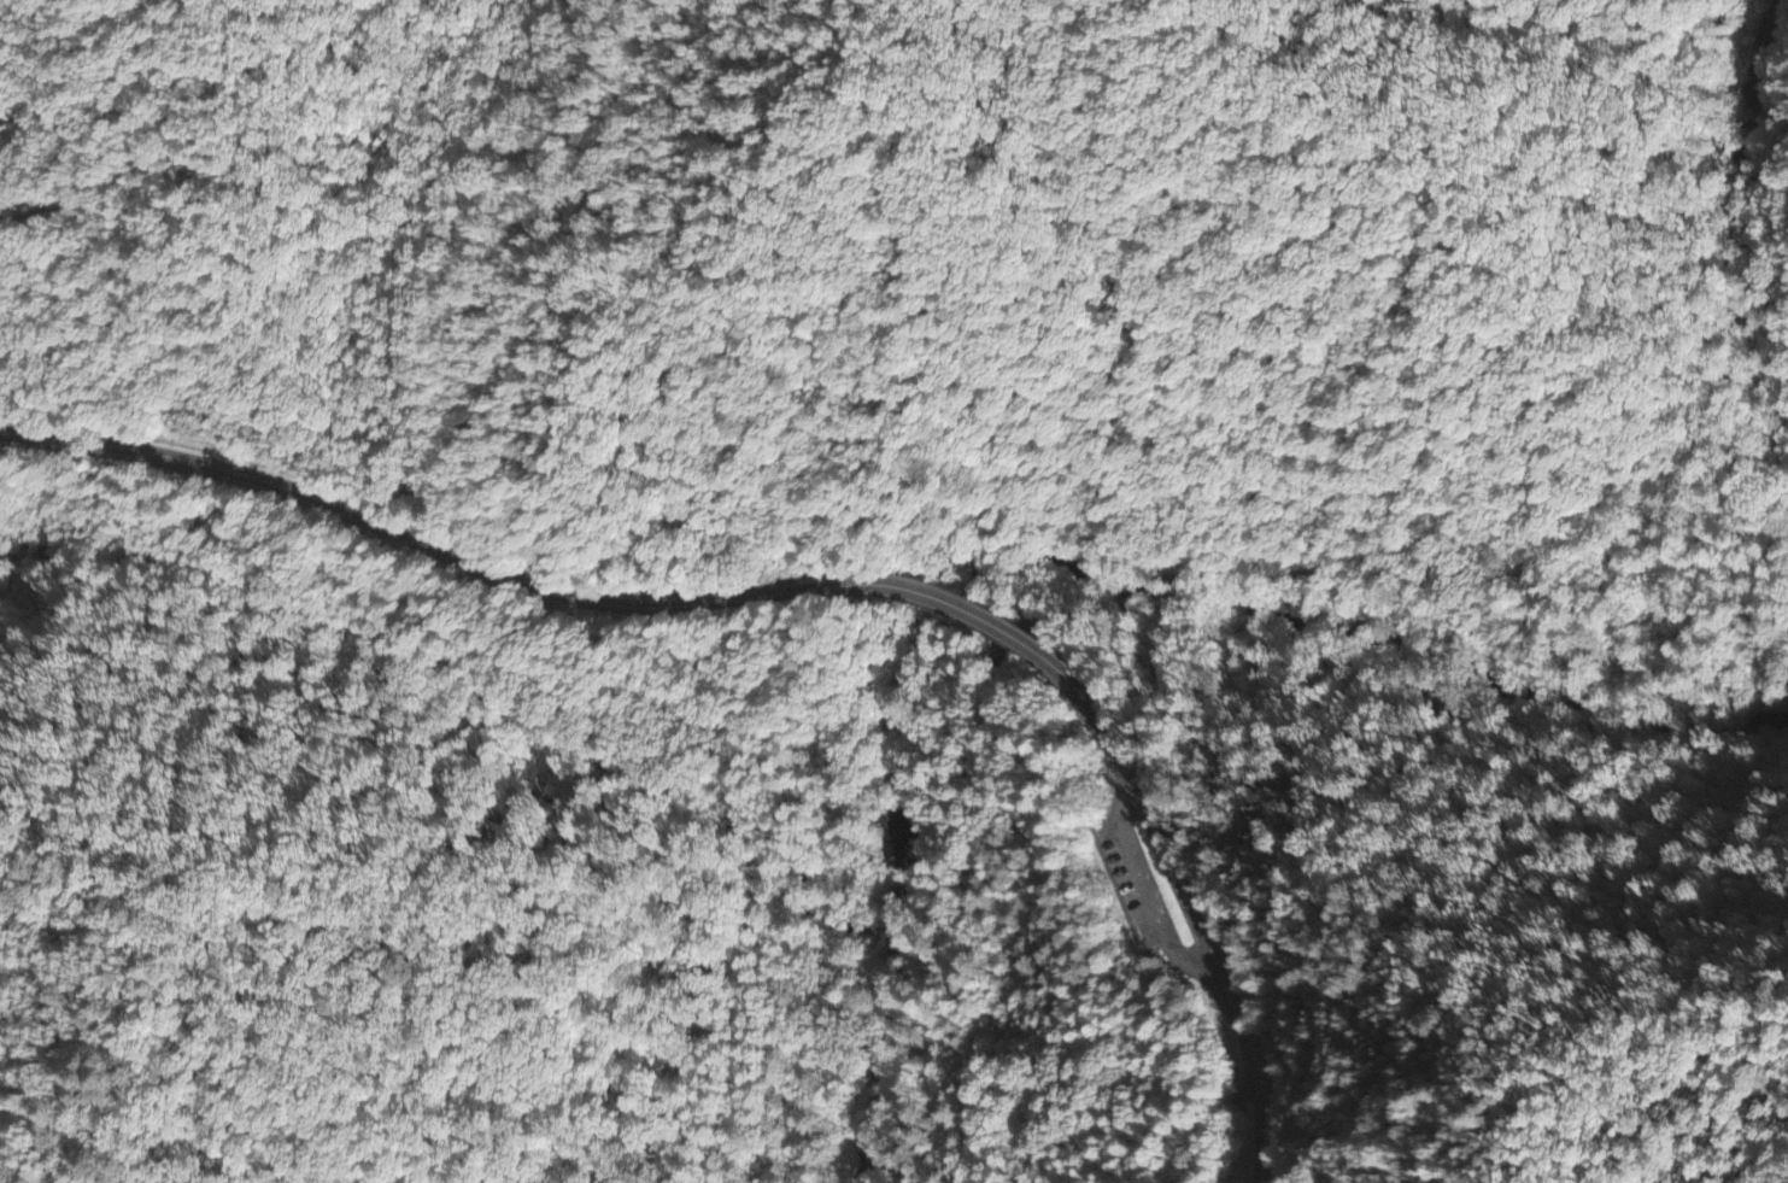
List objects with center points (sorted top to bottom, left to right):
road: (433, 546)
road: (1002, 620)
road: (1109, 731)
parking lot: (1132, 885)
parking lot: (1126, 888)
road: (1130, 897)
road: (1206, 961)

